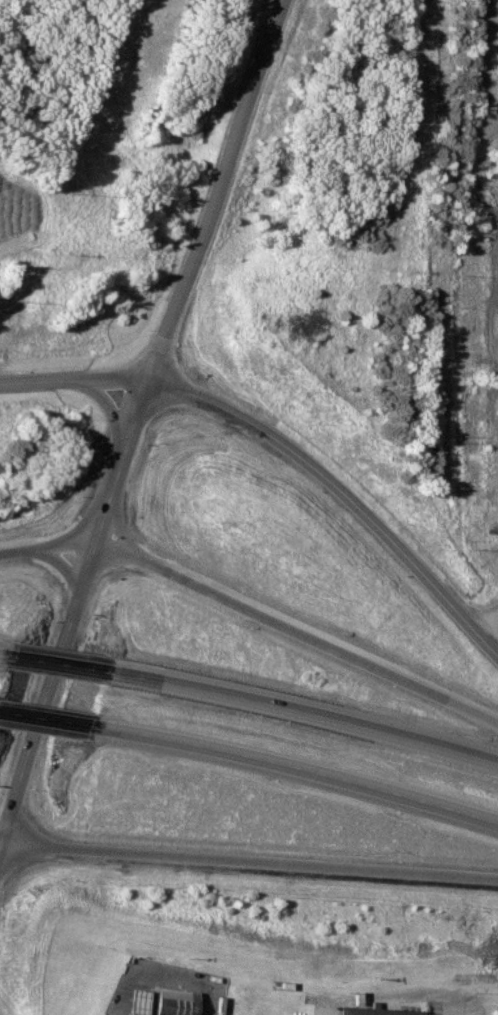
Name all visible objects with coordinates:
building: (491, 185)
park: (387, 227)
road: (199, 250)
building: (470, 300)
road: (286, 446)
building: (471, 469)
road: (112, 522)
road: (52, 550)
road: (72, 567)
road: (300, 633)
road: (64, 664)
road: (55, 694)
road: (314, 713)
road: (58, 724)
road: (309, 772)
road: (3, 845)
road: (3, 855)
road: (252, 863)
building: (181, 1002)
building: (142, 1003)
building: (379, 1012)

